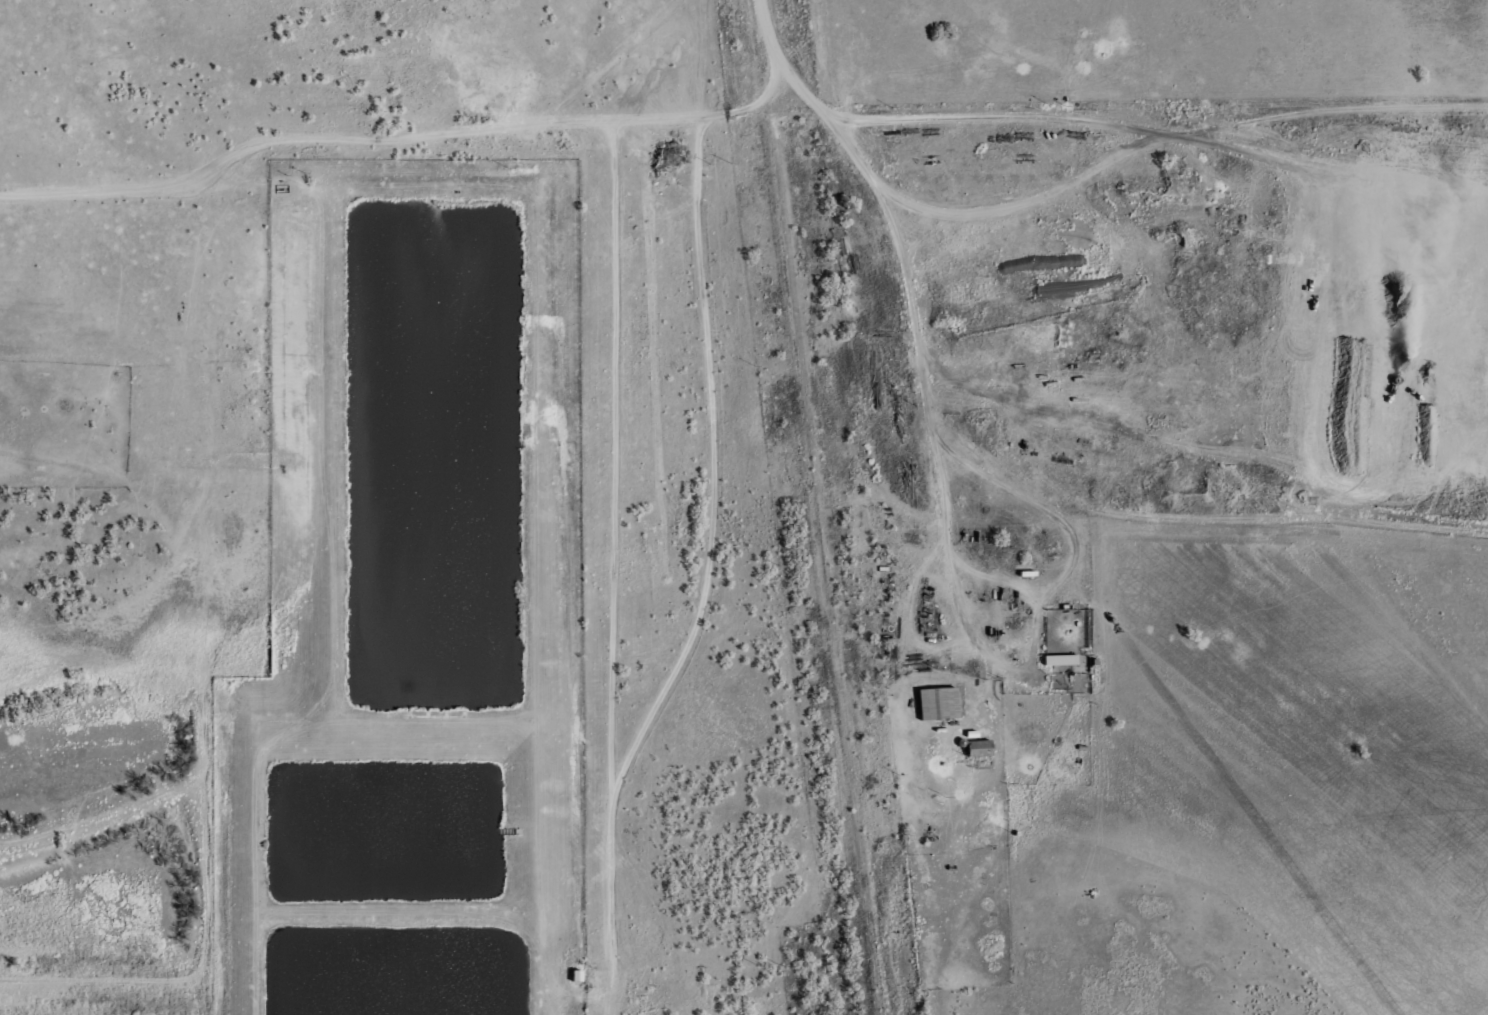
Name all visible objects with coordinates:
road: (965, 324)
railway: (798, 507)
building: (934, 703)
building: (574, 976)

